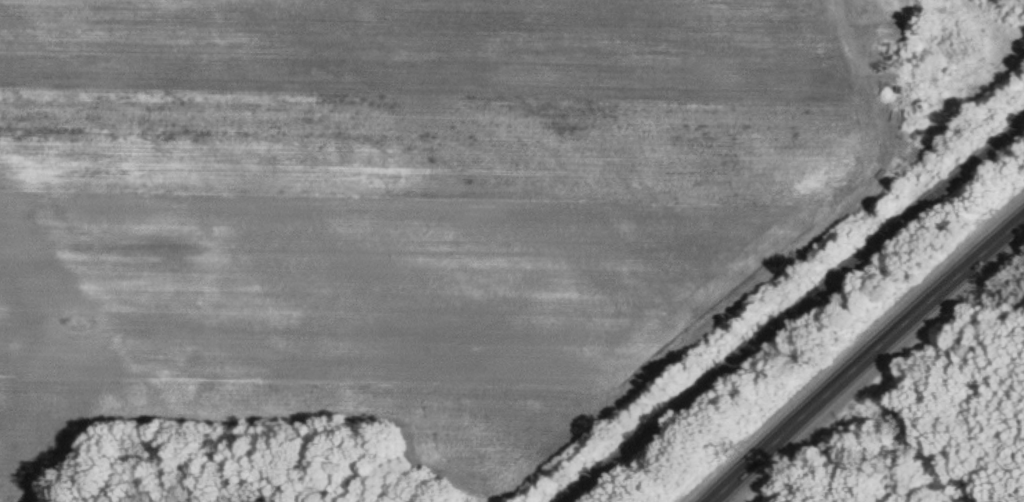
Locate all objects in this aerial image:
railway: (796, 315)
road: (869, 361)

